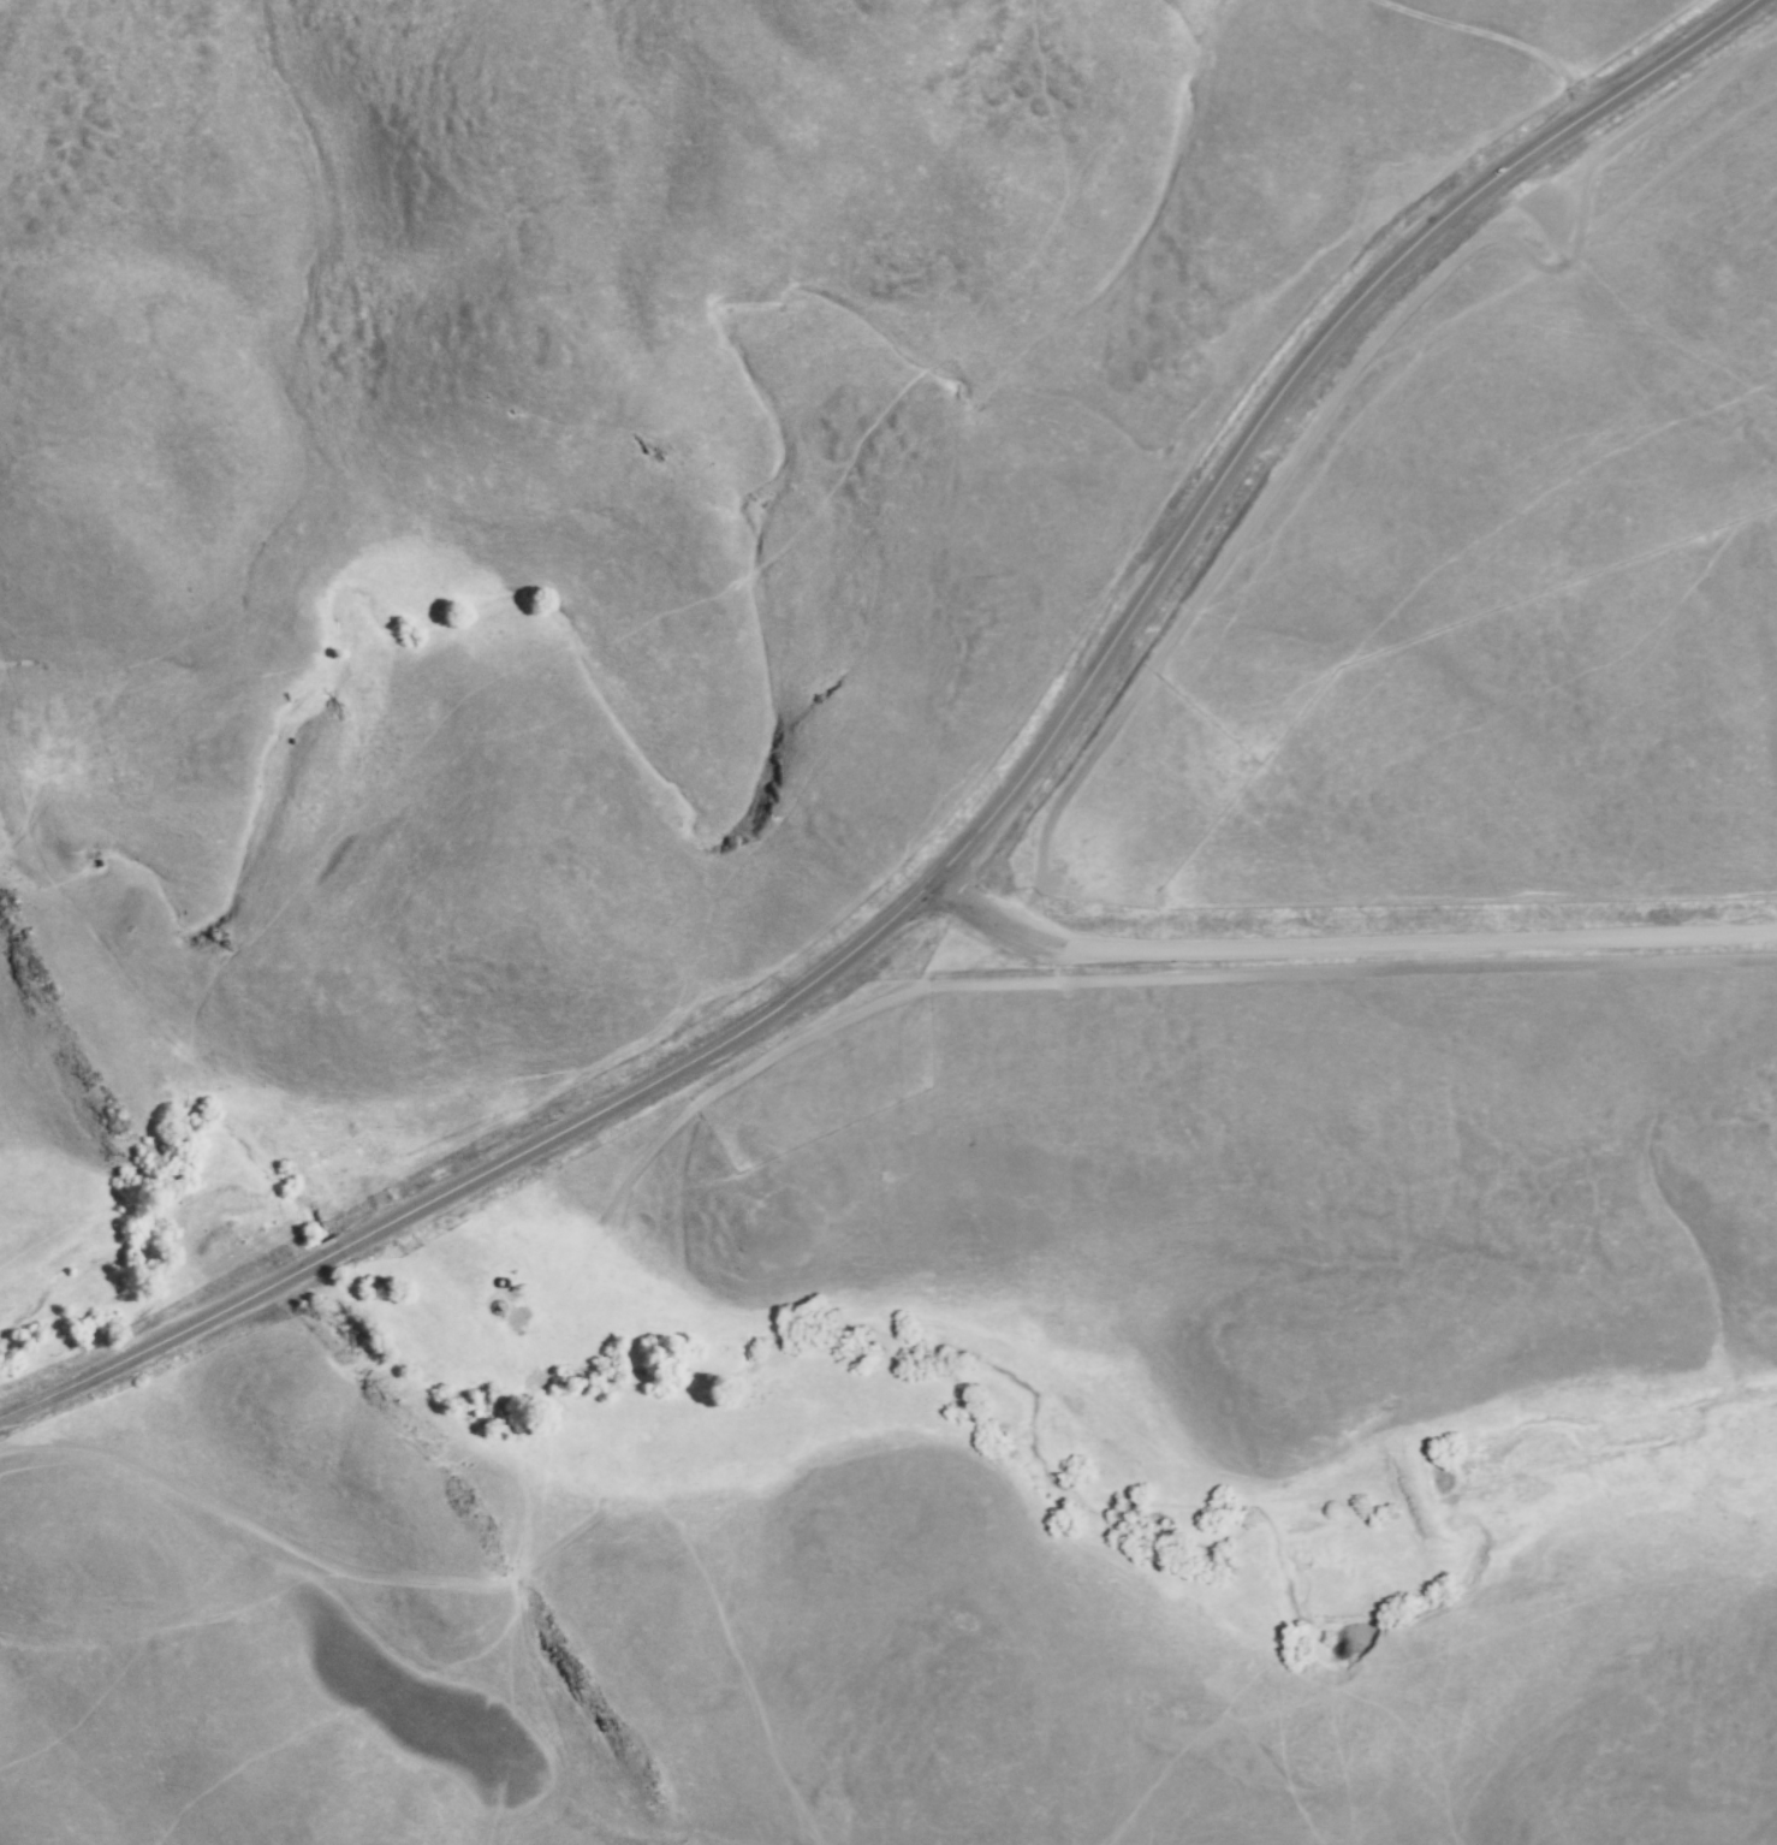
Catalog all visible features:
road: (1088, 675)
road: (1345, 945)
road: (322, 1259)
road: (151, 1341)

